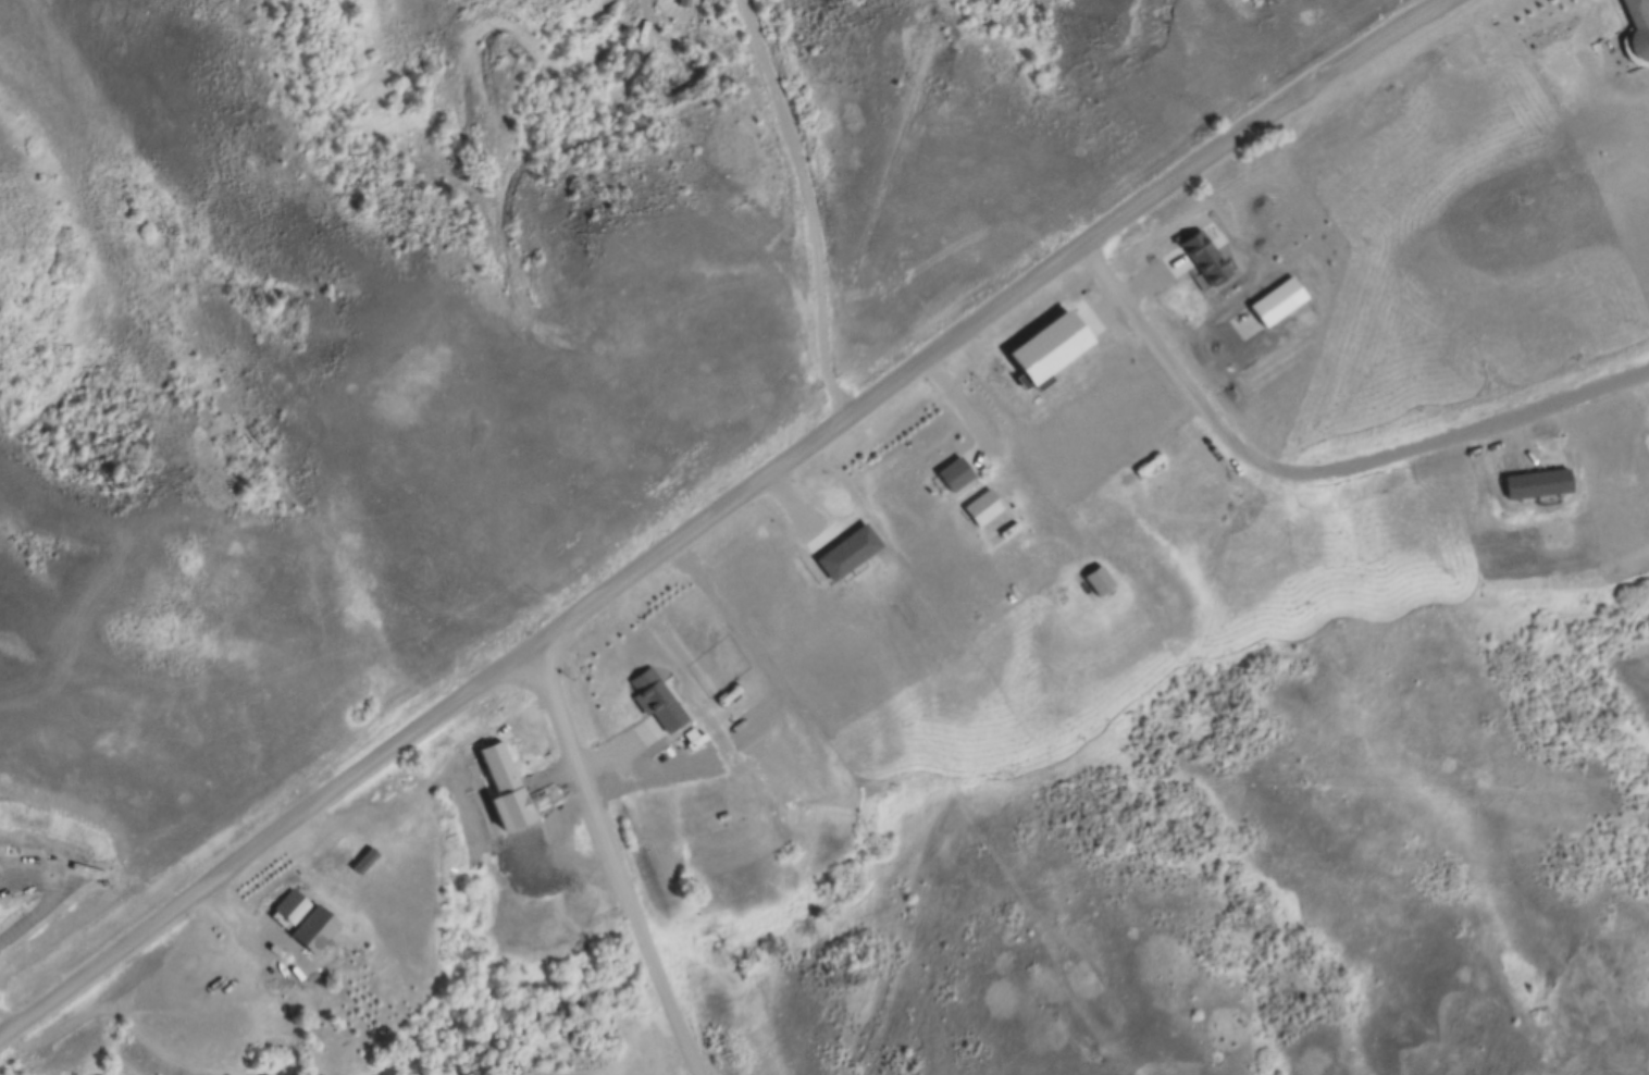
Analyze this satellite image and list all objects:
building: (675, 2)
building: (1642, 25)
building: (613, 62)
road: (807, 205)
building: (1210, 259)
road: (1642, 390)
road: (1562, 450)
road: (1318, 470)
building: (960, 474)
building: (1535, 482)
building: (987, 508)
road: (720, 509)
building: (853, 554)
building: (628, 640)
building: (661, 702)
building: (505, 770)
road: (618, 857)
road: (50, 900)
building: (295, 906)
building: (318, 929)
quarry: (1591, 1012)
road: (5, 1031)

